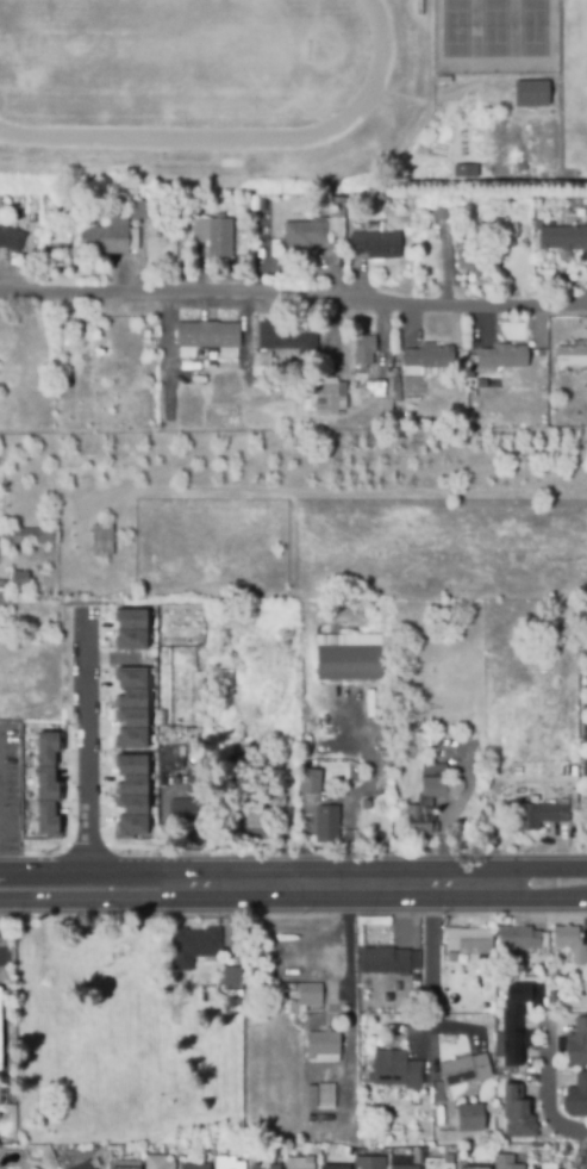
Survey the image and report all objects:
building: (416, 8)
park: (455, 27)
park: (532, 27)
park: (493, 29)
park: (166, 60)
track: (375, 74)
building: (529, 92)
park: (236, 100)
building: (464, 169)
building: (441, 211)
building: (181, 226)
building: (111, 229)
building: (304, 234)
building: (213, 235)
building: (258, 237)
building: (562, 237)
building: (10, 238)
building: (373, 243)
building: (243, 259)
building: (469, 261)
road: (449, 272)
building: (585, 272)
road: (293, 299)
road: (387, 332)
road: (248, 335)
building: (206, 337)
building: (283, 340)
building: (126, 344)
building: (362, 352)
building: (502, 354)
road: (171, 356)
building: (572, 357)
building: (426, 361)
building: (258, 366)
building: (487, 380)
building: (374, 390)
building: (329, 398)
building: (27, 535)
building: (100, 539)
building: (17, 578)
building: (2, 596)
building: (127, 627)
building: (349, 661)
building: (225, 682)
building: (126, 705)
road: (85, 739)
building: (174, 758)
building: (233, 766)
building: (44, 782)
building: (311, 785)
road: (366, 785)
building: (127, 796)
building: (430, 801)
building: (366, 806)
building: (244, 813)
building: (183, 814)
building: (533, 815)
building: (327, 826)
road: (161, 834)
road: (581, 846)
road: (68, 870)
road: (361, 882)
road: (68, 901)
road: (229, 921)
building: (525, 940)
building: (470, 941)
building: (572, 941)
building: (195, 949)
road: (2, 956)
building: (4, 956)
building: (386, 962)
road: (433, 964)
building: (539, 974)
building: (233, 980)
building: (557, 994)
building: (312, 995)
building: (233, 1008)
building: (552, 1013)
building: (516, 1020)
road: (349, 1024)
road: (461, 1027)
building: (576, 1043)
building: (324, 1046)
road: (326, 1063)
building: (463, 1069)
building: (396, 1070)
road: (552, 1088)
building: (321, 1095)
building: (575, 1096)
building: (367, 1114)
building: (516, 1114)
building: (468, 1117)
building: (367, 1132)
building: (217, 1146)
building: (349, 1151)
building: (155, 1162)
building: (296, 1162)
building: (367, 1162)
building: (505, 1162)
building: (225, 1163)
building: (435, 1163)
building: (83, 1164)
building: (193, 1165)
building: (331, 1165)
building: (548, 1165)
building: (123, 1167)
building: (262, 1167)
building: (401, 1167)
building: (472, 1167)
building: (32, 1168)

